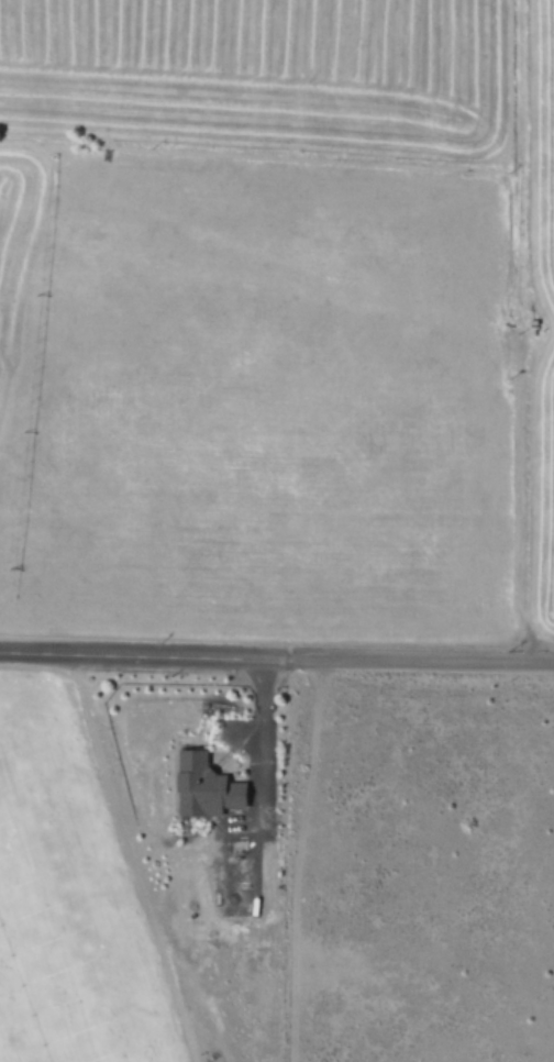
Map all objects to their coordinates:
road: (121, 650)
road: (398, 653)
building: (202, 786)

